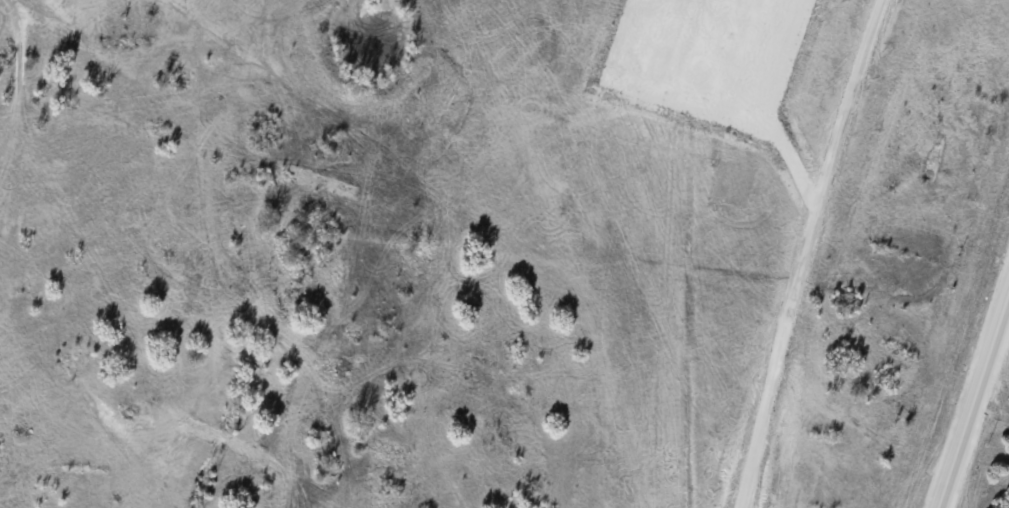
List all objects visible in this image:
road: (803, 251)
road: (973, 399)

